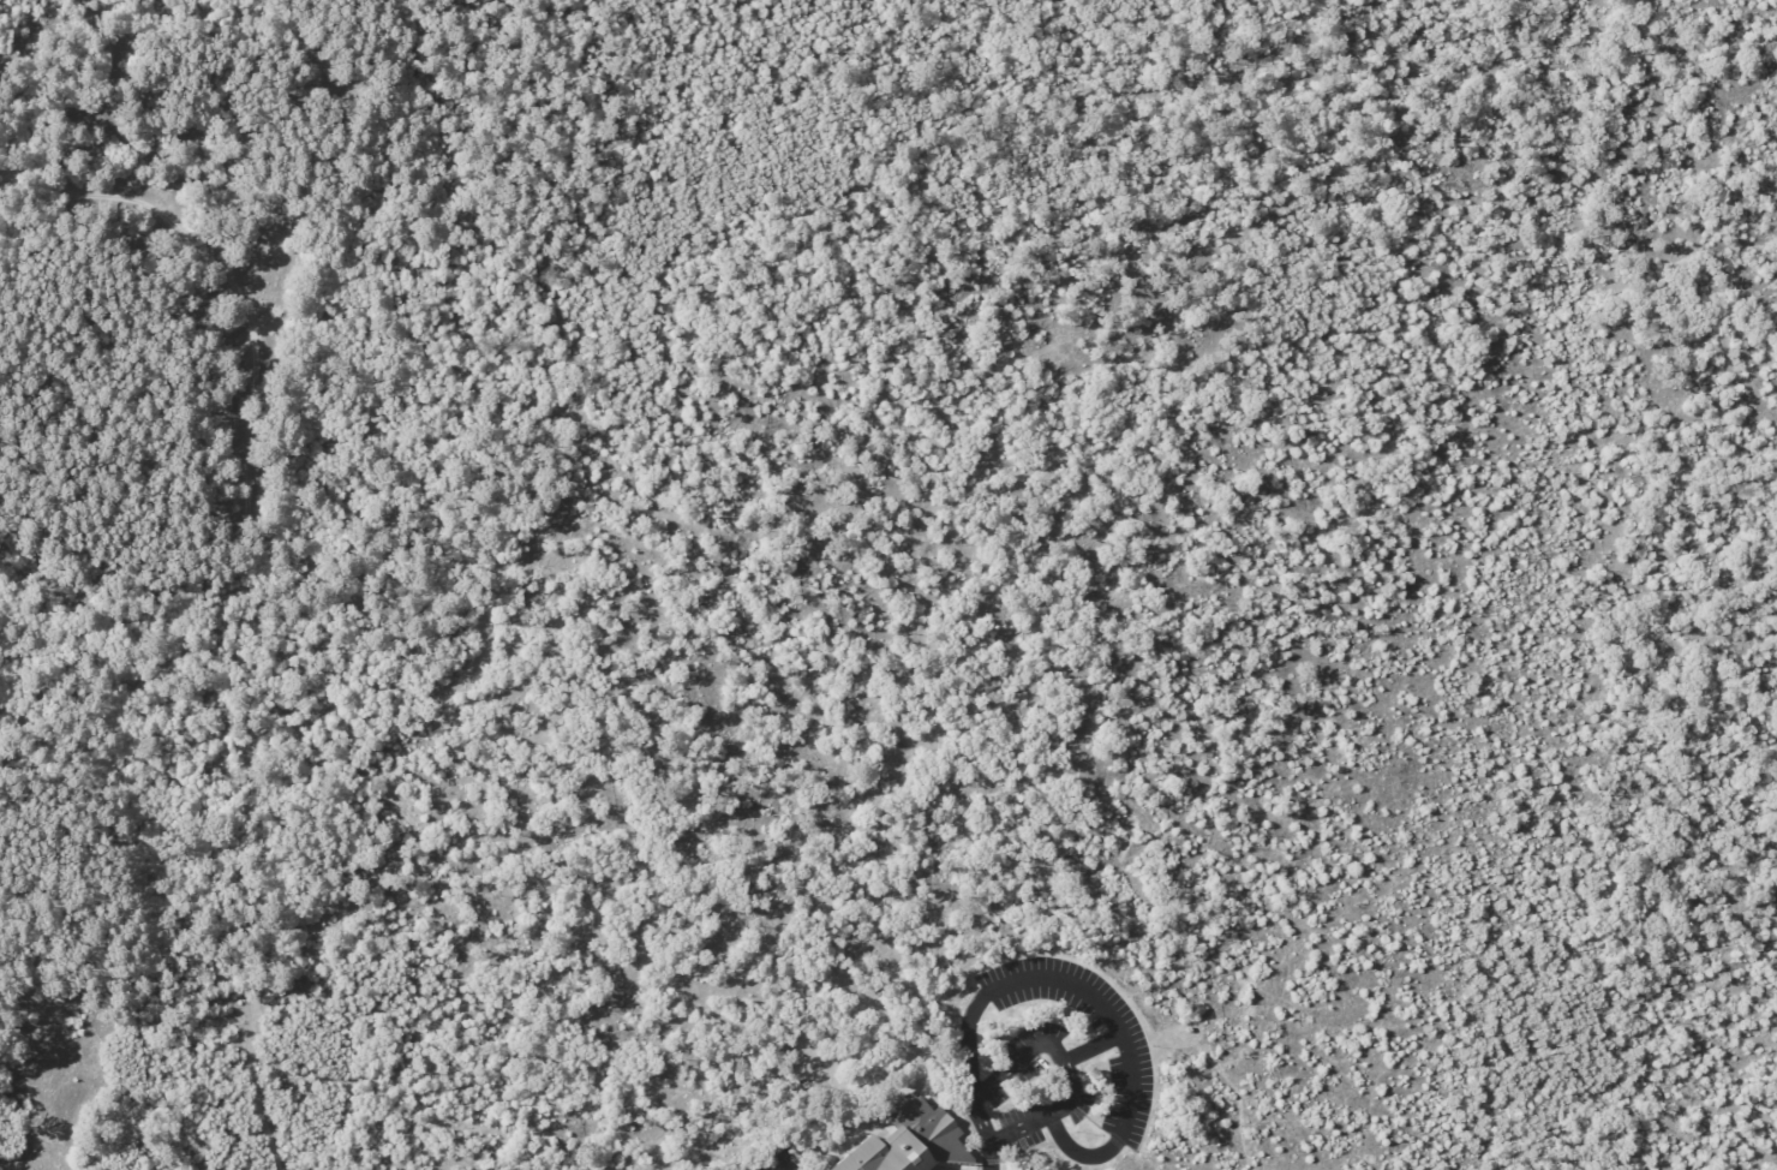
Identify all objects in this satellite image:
road: (1093, 1061)
road: (1132, 1104)
building: (911, 1141)
road: (983, 1142)
road: (1019, 1144)

